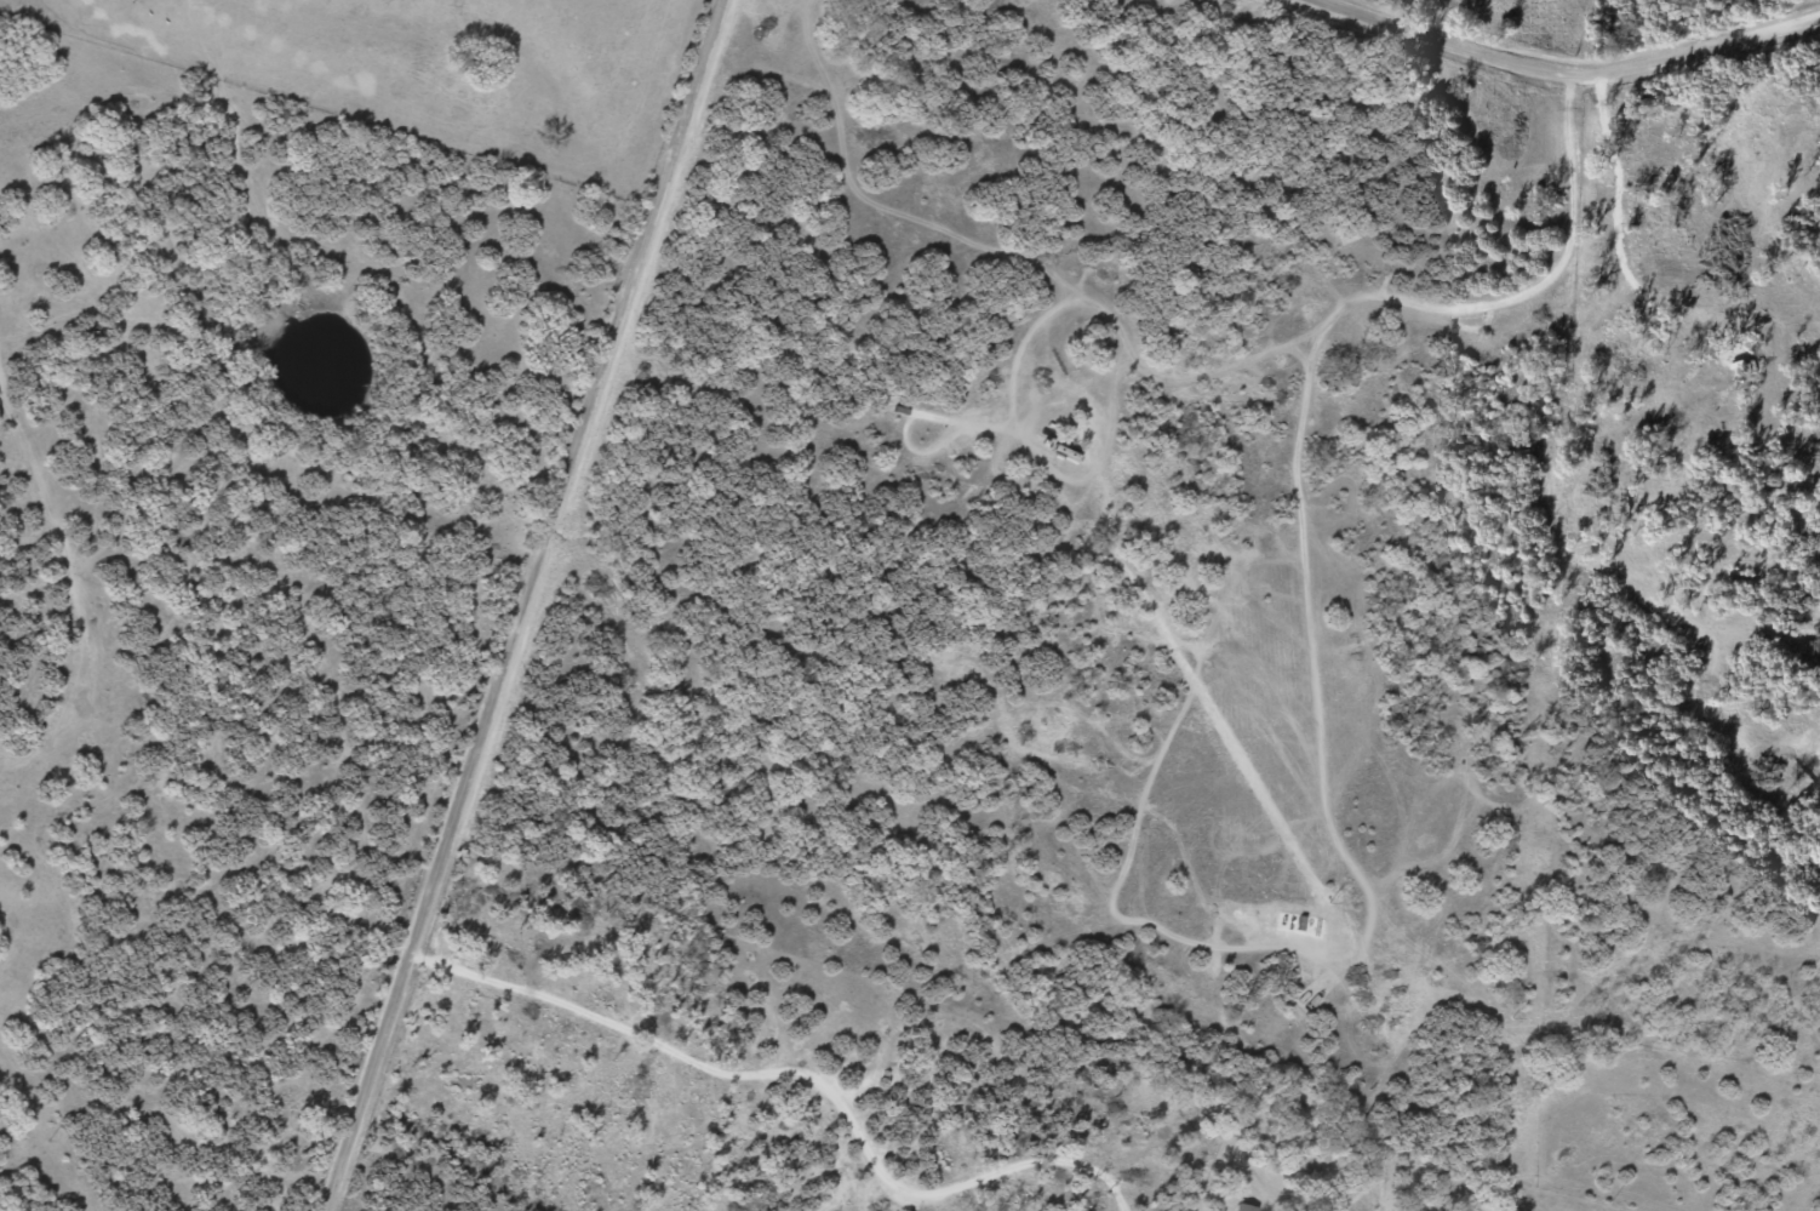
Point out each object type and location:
road: (1572, 76)
road: (526, 605)
building: (1244, 1206)

